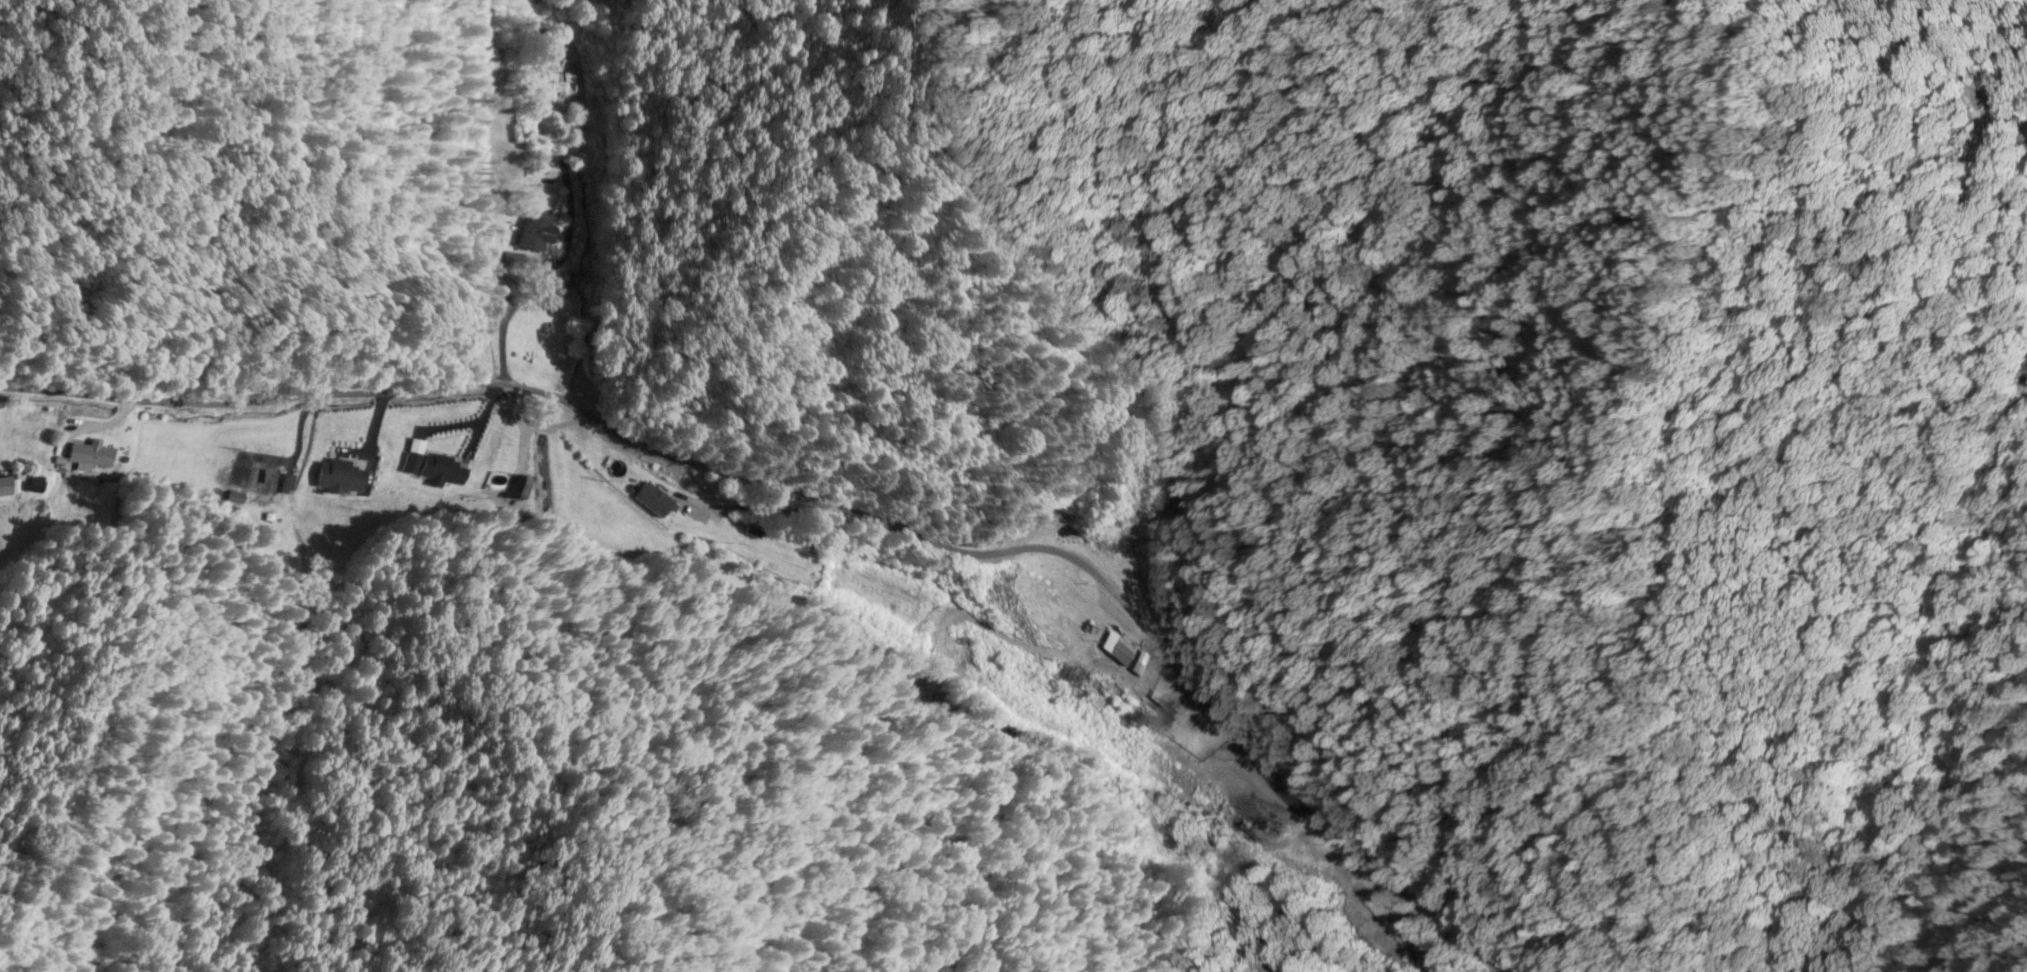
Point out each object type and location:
building: (558, 84)
building: (538, 236)
building: (93, 456)
building: (434, 469)
building: (340, 478)
building: (257, 481)
building: (5, 487)
road: (811, 506)
building: (698, 522)
building: (1103, 654)
building: (1161, 714)
building: (1274, 812)

